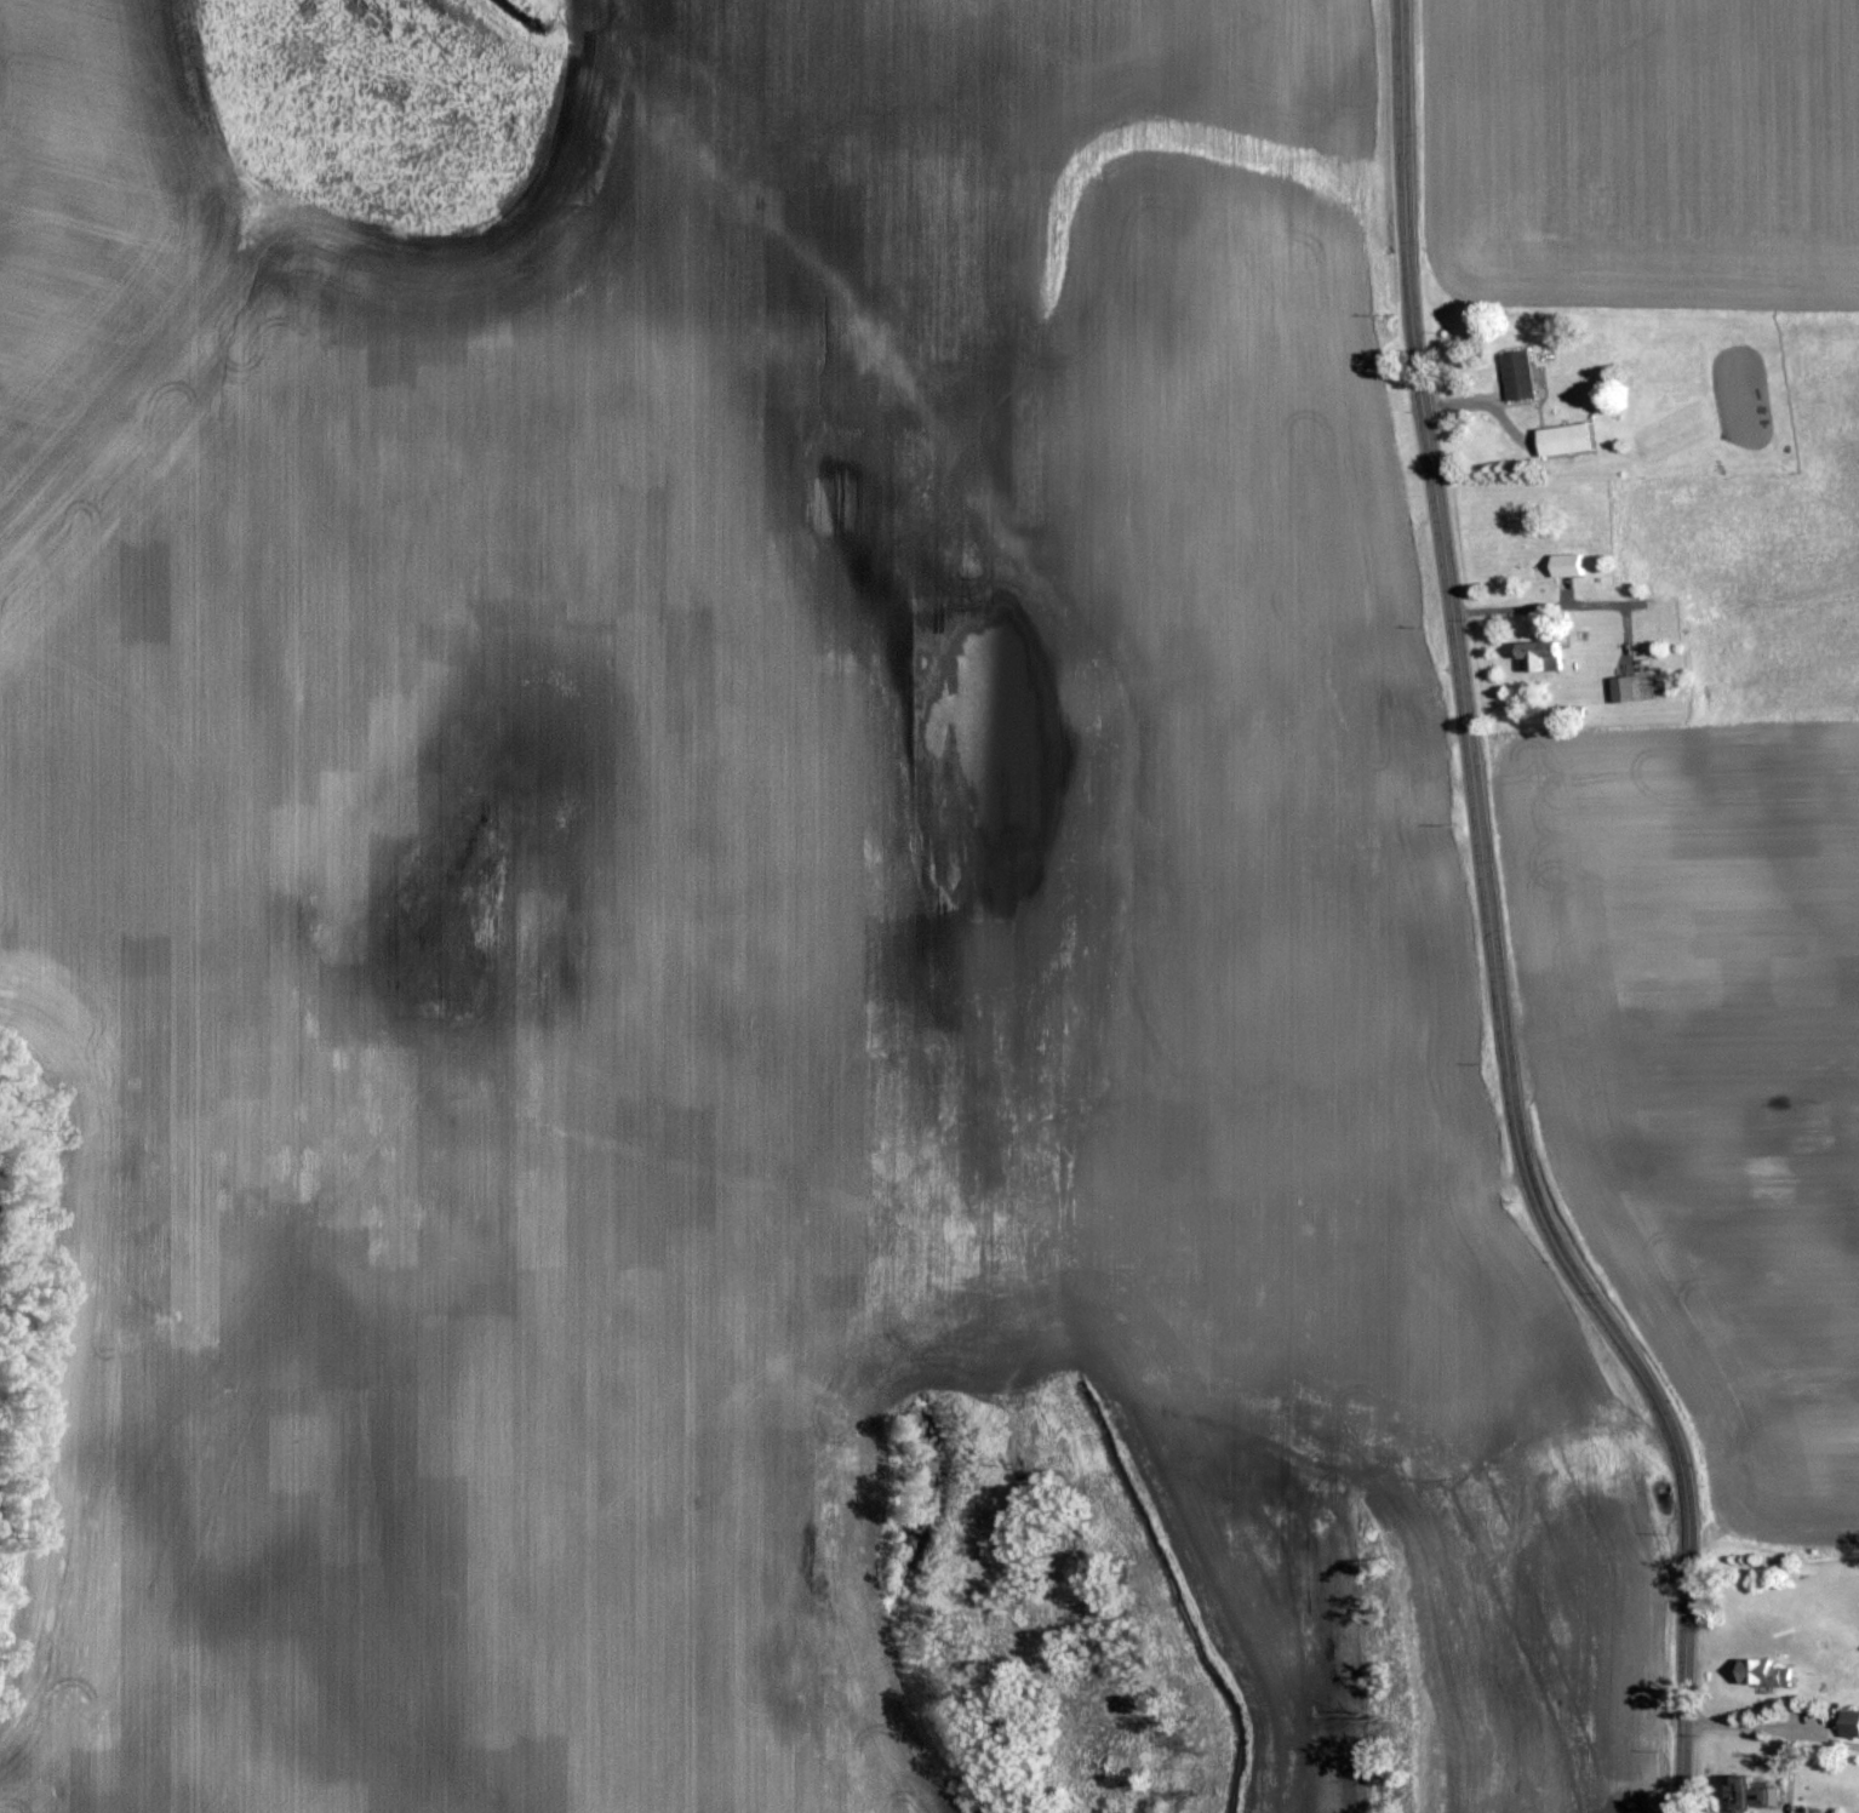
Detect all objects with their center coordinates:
building: (1516, 371)
building: (1561, 436)
building: (1565, 561)
building: (1631, 685)
road: (1492, 926)
building: (1760, 1670)
building: (1848, 1721)

